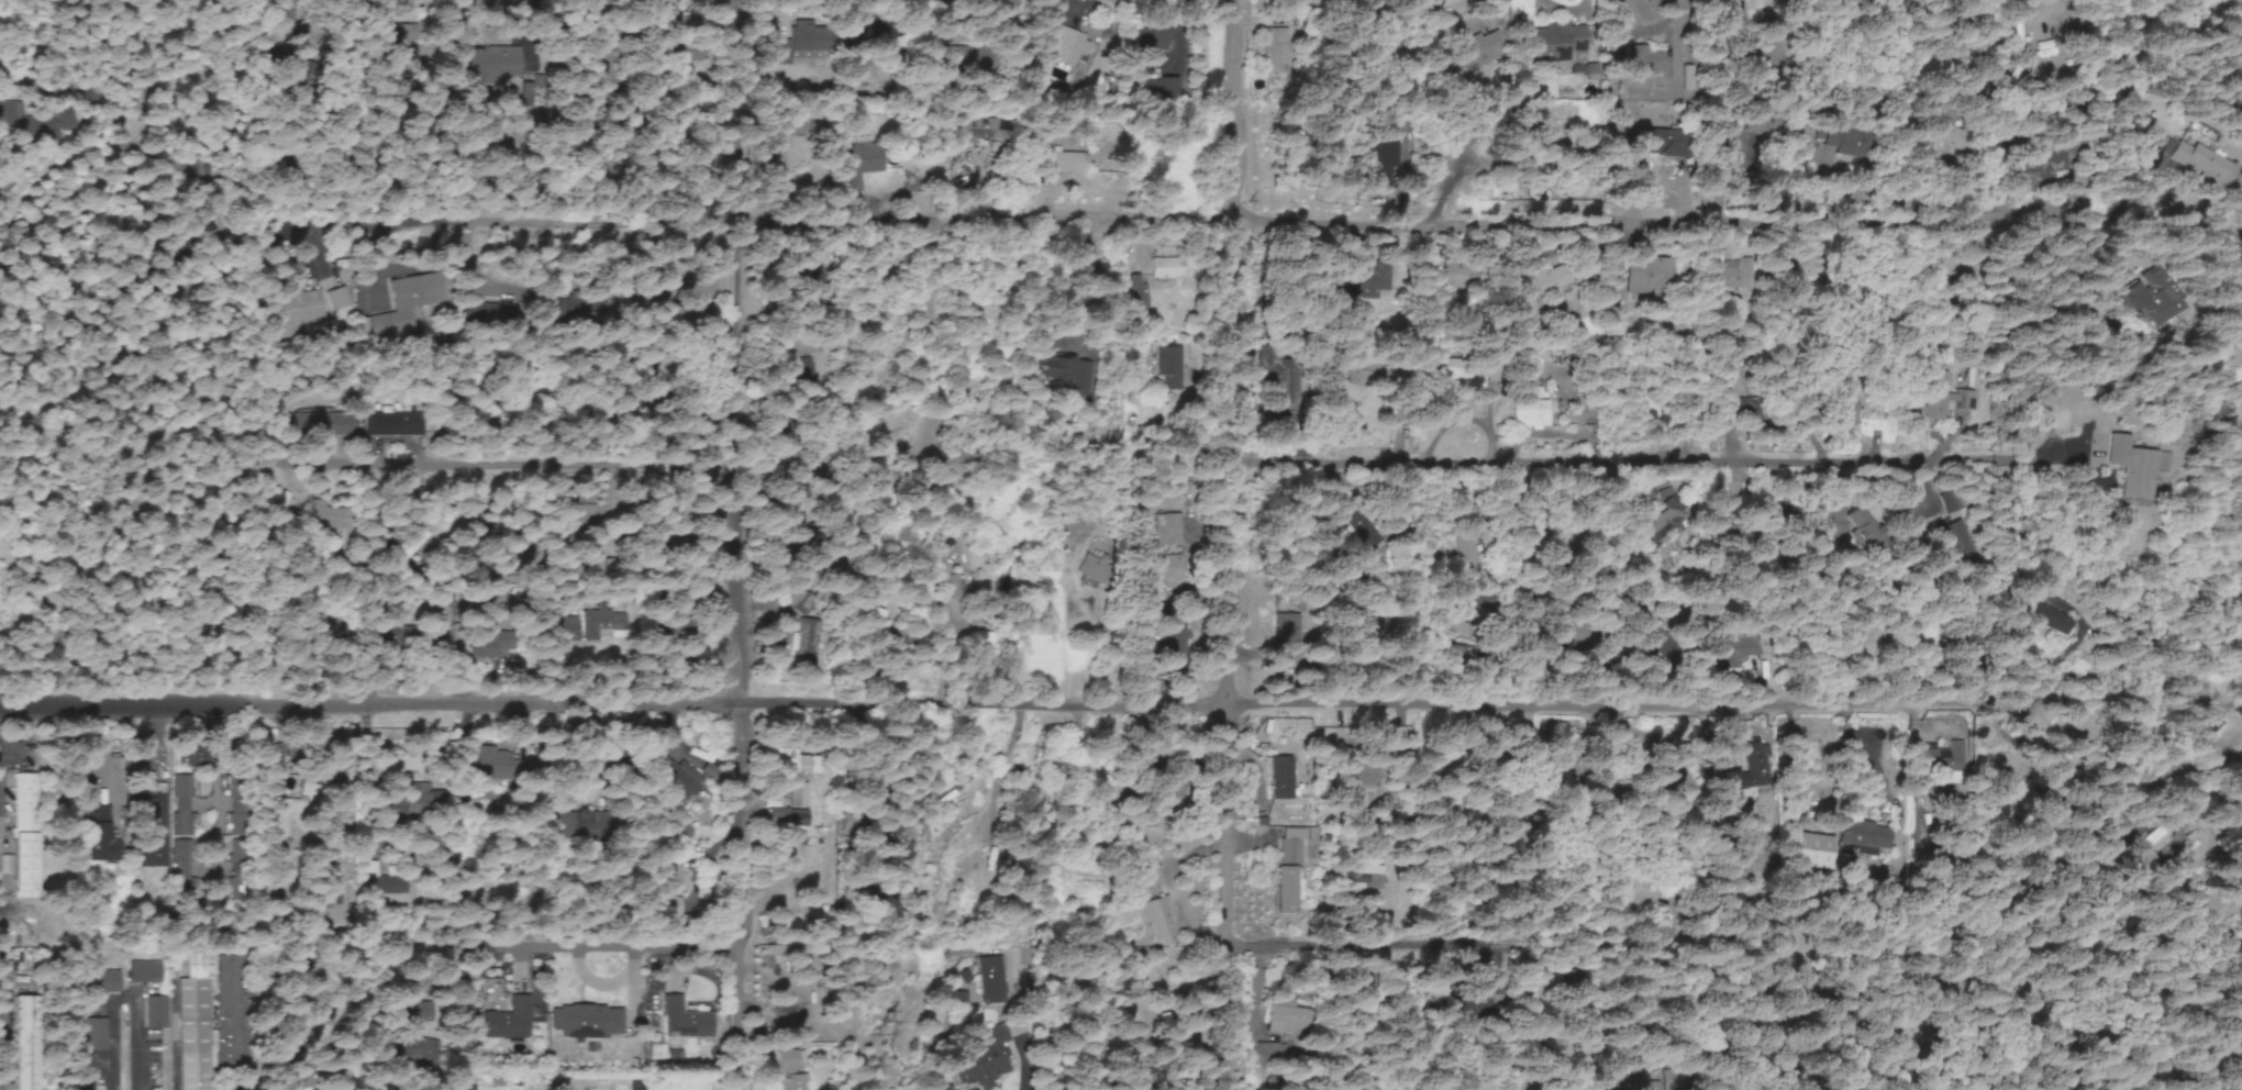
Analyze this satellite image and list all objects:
building: (861, 31)
building: (804, 37)
building: (1155, 37)
building: (1562, 44)
building: (1064, 46)
building: (1475, 51)
building: (1275, 53)
building: (978, 130)
building: (33, 133)
building: (1946, 136)
building: (1665, 144)
building: (1064, 164)
building: (859, 165)
building: (2202, 165)
road: (1295, 199)
building: (1167, 270)
building: (1456, 277)
building: (1650, 277)
building: (1734, 277)
building: (1550, 281)
building: (1357, 287)
building: (2142, 294)
building: (336, 300)
building: (1524, 310)
building: (293, 313)
building: (1167, 368)
building: (1068, 375)
building: (1461, 379)
building: (2238, 396)
building: (1943, 400)
building: (1645, 402)
building: (1853, 403)
building: (1530, 415)
building: (392, 425)
building: (320, 426)
road: (519, 429)
road: (1656, 461)
building: (2133, 469)
building: (1068, 525)
building: (1167, 531)
building: (1867, 533)
building: (407, 544)
road: (739, 544)
road: (1247, 544)
building: (1464, 553)
building: (1092, 571)
building: (1165, 574)
building: (795, 608)
building: (2051, 622)
building: (876, 624)
building: (1176, 626)
building: (1284, 641)
building: (486, 644)
building: (808, 645)
building: (1860, 646)
building: (1736, 650)
road: (1120, 707)
building: (1944, 760)
building: (275, 763)
building: (491, 765)
building: (662, 767)
building: (1745, 771)
building: (1678, 777)
building: (1361, 778)
building: (1280, 779)
building: (680, 786)
building: (792, 790)
building: (311, 792)
building: (23, 798)
building: (181, 808)
building: (151, 826)
building: (98, 834)
building: (1864, 837)
building: (2162, 839)
road: (2113, 854)
building: (180, 859)
building: (1671, 860)
building: (22, 866)
building: (1150, 878)
building: (674, 880)
building: (331, 891)
building: (1285, 904)
building: (670, 908)
building: (1156, 922)
road: (1747, 942)
road: (599, 946)
building: (144, 974)
building: (991, 982)
building: (101, 983)
building: (155, 1014)
building: (1286, 1019)
building: (507, 1020)
building: (680, 1020)
building: (582, 1021)
building: (193, 1026)
building: (93, 1036)
building: (1167, 1037)
building: (24, 1044)
building: (983, 1063)
building: (788, 1070)
building: (1640, 1086)
building: (1366, 1088)
building: (465, 1089)

